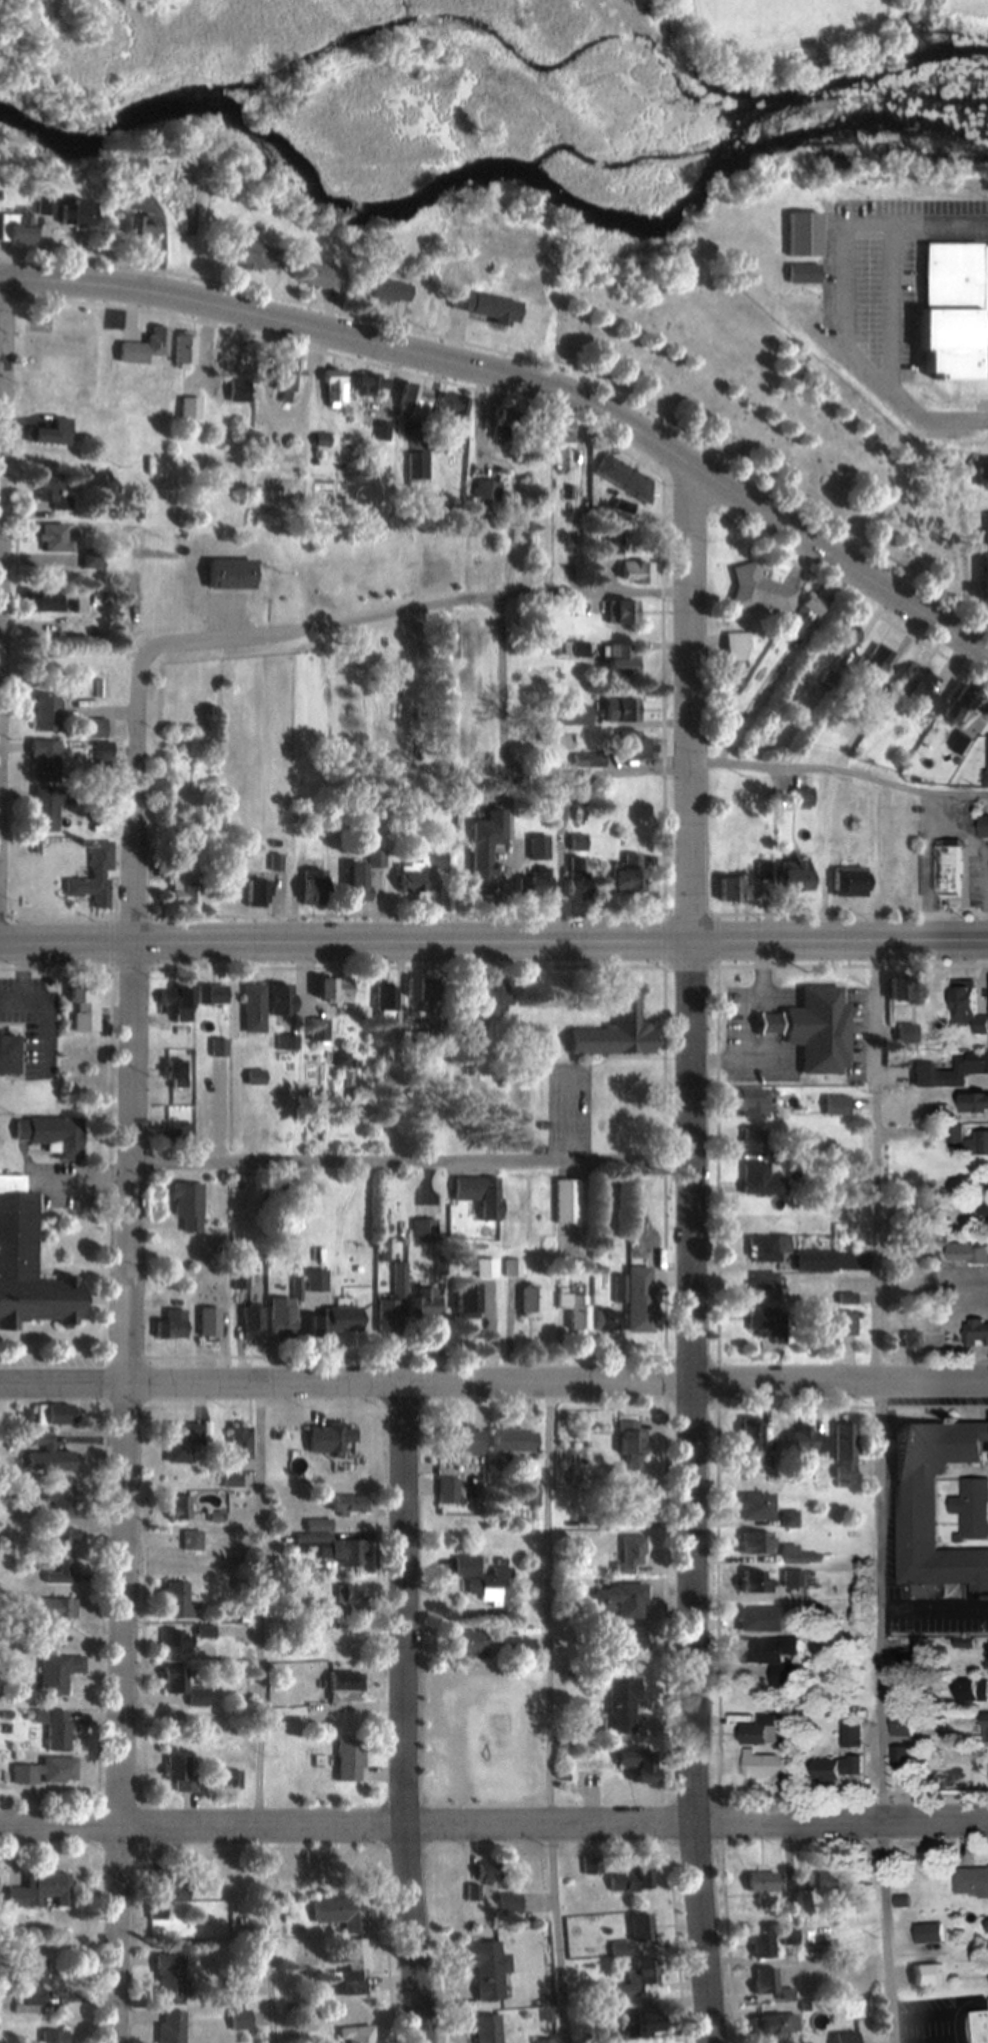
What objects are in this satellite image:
building: (135, 162)
river: (483, 172)
building: (68, 210)
building: (142, 227)
building: (15, 228)
building: (804, 234)
building: (251, 254)
building: (803, 273)
building: (319, 277)
building: (389, 290)
building: (955, 311)
building: (143, 347)
building: (182, 349)
building: (225, 360)
road: (2, 365)
road: (527, 373)
building: (289, 378)
building: (362, 385)
building: (333, 388)
building: (236, 391)
park: (731, 393)
building: (415, 402)
building: (450, 406)
building: (188, 408)
building: (381, 431)
building: (52, 433)
building: (562, 452)
building: (417, 469)
building: (984, 474)
building: (624, 478)
building: (487, 489)
building: (49, 491)
building: (54, 539)
building: (612, 542)
building: (986, 560)
building: (635, 572)
building: (228, 575)
building: (759, 591)
building: (43, 602)
road: (407, 610)
building: (804, 613)
building: (622, 614)
building: (842, 636)
building: (447, 640)
building: (735, 658)
building: (620, 662)
building: (876, 668)
building: (913, 685)
road: (689, 697)
building: (930, 704)
building: (958, 705)
building: (621, 711)
building: (46, 713)
building: (575, 715)
building: (92, 729)
building: (961, 743)
building: (634, 745)
building: (101, 753)
building: (43, 760)
building: (987, 760)
building: (588, 761)
road: (840, 769)
building: (802, 797)
road: (135, 804)
building: (44, 810)
building: (984, 826)
building: (490, 830)
building: (539, 848)
building: (946, 861)
building: (480, 875)
building: (627, 876)
building: (794, 876)
building: (93, 877)
building: (849, 880)
building: (357, 883)
building: (536, 883)
building: (411, 885)
building: (747, 885)
building: (185, 887)
building: (313, 890)
building: (256, 893)
road: (494, 938)
building: (423, 988)
building: (909, 988)
building: (333, 989)
building: (212, 994)
building: (496, 995)
building: (390, 997)
building: (280, 999)
building: (175, 1001)
building: (84, 1005)
building: (967, 1006)
building: (253, 1007)
building: (819, 1025)
building: (617, 1027)
building: (317, 1029)
building: (906, 1033)
building: (286, 1042)
building: (218, 1046)
building: (8, 1054)
building: (950, 1071)
building: (175, 1073)
building: (254, 1076)
building: (749, 1101)
building: (975, 1101)
building: (836, 1105)
building: (178, 1131)
building: (958, 1133)
building: (51, 1134)
building: (978, 1141)
road: (410, 1159)
building: (758, 1179)
building: (480, 1194)
building: (186, 1205)
building: (982, 1206)
building: (572, 1215)
building: (767, 1247)
building: (967, 1252)
building: (814, 1260)
building: (26, 1266)
building: (512, 1267)
building: (399, 1278)
building: (316, 1279)
building: (978, 1287)
building: (638, 1298)
building: (467, 1299)
building: (422, 1301)
building: (531, 1301)
building: (574, 1307)
building: (605, 1319)
building: (338, 1321)
building: (768, 1322)
building: (208, 1323)
building: (842, 1323)
building: (173, 1324)
building: (251, 1325)
building: (281, 1327)
building: (976, 1333)
road: (494, 1383)
building: (55, 1414)
building: (750, 1435)
building: (329, 1438)
building: (460, 1439)
building: (513, 1440)
building: (182, 1441)
building: (806, 1441)
building: (239, 1443)
building: (632, 1449)
building: (845, 1452)
building: (53, 1455)
building: (447, 1490)
road: (692, 1490)
road: (879, 1490)
road: (124, 1492)
building: (530, 1496)
building: (59, 1497)
building: (24, 1501)
building: (207, 1501)
building: (349, 1503)
building: (933, 1503)
building: (757, 1506)
building: (177, 1507)
building: (972, 1508)
building: (628, 1511)
building: (789, 1518)
building: (191, 1540)
building: (756, 1542)
building: (330, 1544)
building: (631, 1554)
building: (793, 1555)
building: (62, 1557)
building: (794, 1578)
building: (482, 1580)
building: (755, 1581)
building: (351, 1594)
building: (177, 1599)
building: (619, 1601)
building: (56, 1608)
building: (762, 1620)
building: (204, 1632)
building: (46, 1635)
building: (632, 1638)
building: (469, 1642)
building: (174, 1645)
building: (517, 1648)
building: (775, 1659)
building: (57, 1673)
building: (174, 1681)
building: (346, 1686)
building: (972, 1692)
building: (196, 1698)
building: (623, 1700)
road: (258, 1712)
road: (404, 1713)
road: (550, 1713)
building: (901, 1724)
building: (54, 1728)
building: (985, 1730)
building: (760, 1732)
building: (850, 1734)
building: (348, 1758)
building: (639, 1765)
building: (767, 1766)
building: (835, 1768)
building: (45, 1772)
building: (177, 1774)
building: (232, 1780)
road: (493, 1818)
building: (592, 1865)
building: (487, 1871)
building: (971, 1880)
building: (629, 1881)
building: (761, 1881)
building: (831, 1881)
building: (39, 1889)
building: (167, 1898)
building: (507, 1902)
building: (340, 1912)
building: (987, 1923)
building: (927, 1933)
building: (635, 1935)
building: (789, 1936)
building: (762, 1944)
building: (486, 1970)
building: (350, 1972)
building: (927, 1975)
building: (639, 1978)
building: (169, 1979)
building: (764, 1980)
building: (31, 1986)
building: (239, 2020)
building: (646, 2024)
building: (774, 2024)
building: (979, 2026)
building: (487, 2029)
building: (356, 2034)
building: (51, 2037)
building: (845, 2037)

